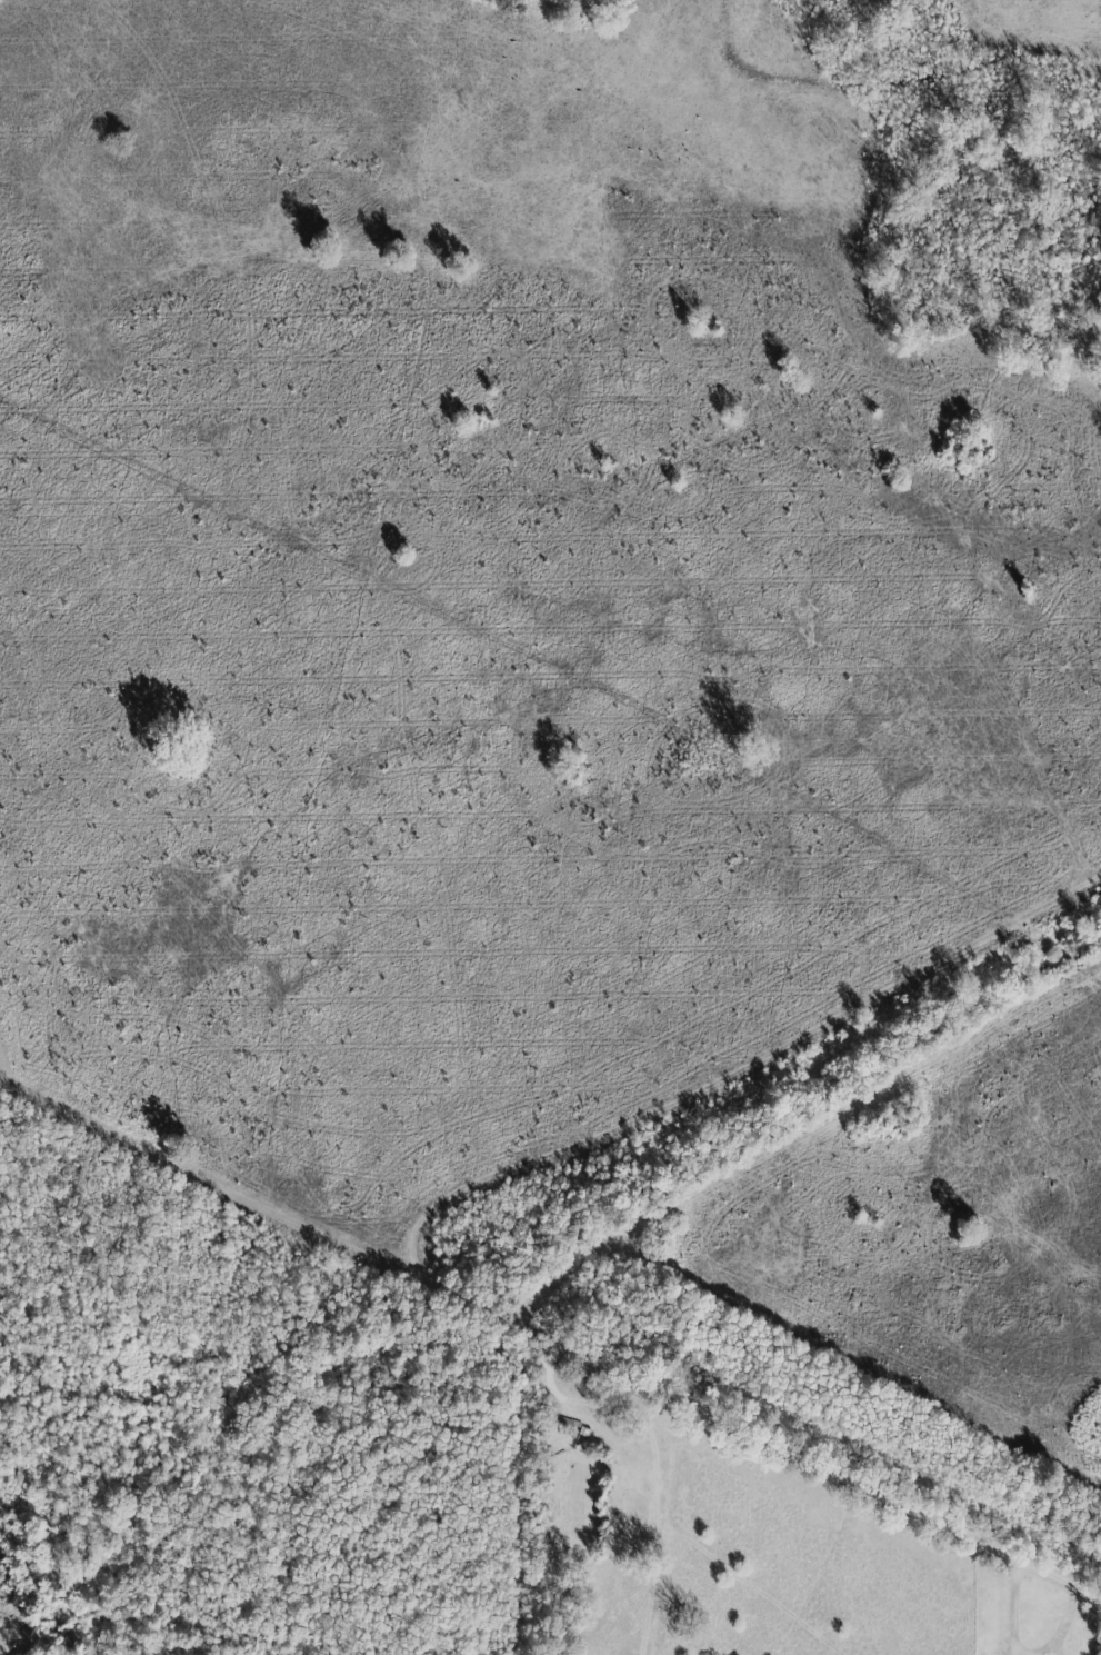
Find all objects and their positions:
road: (1015, 591)
road: (739, 1069)
road: (551, 1339)
road: (1014, 1606)
road: (1064, 1624)

